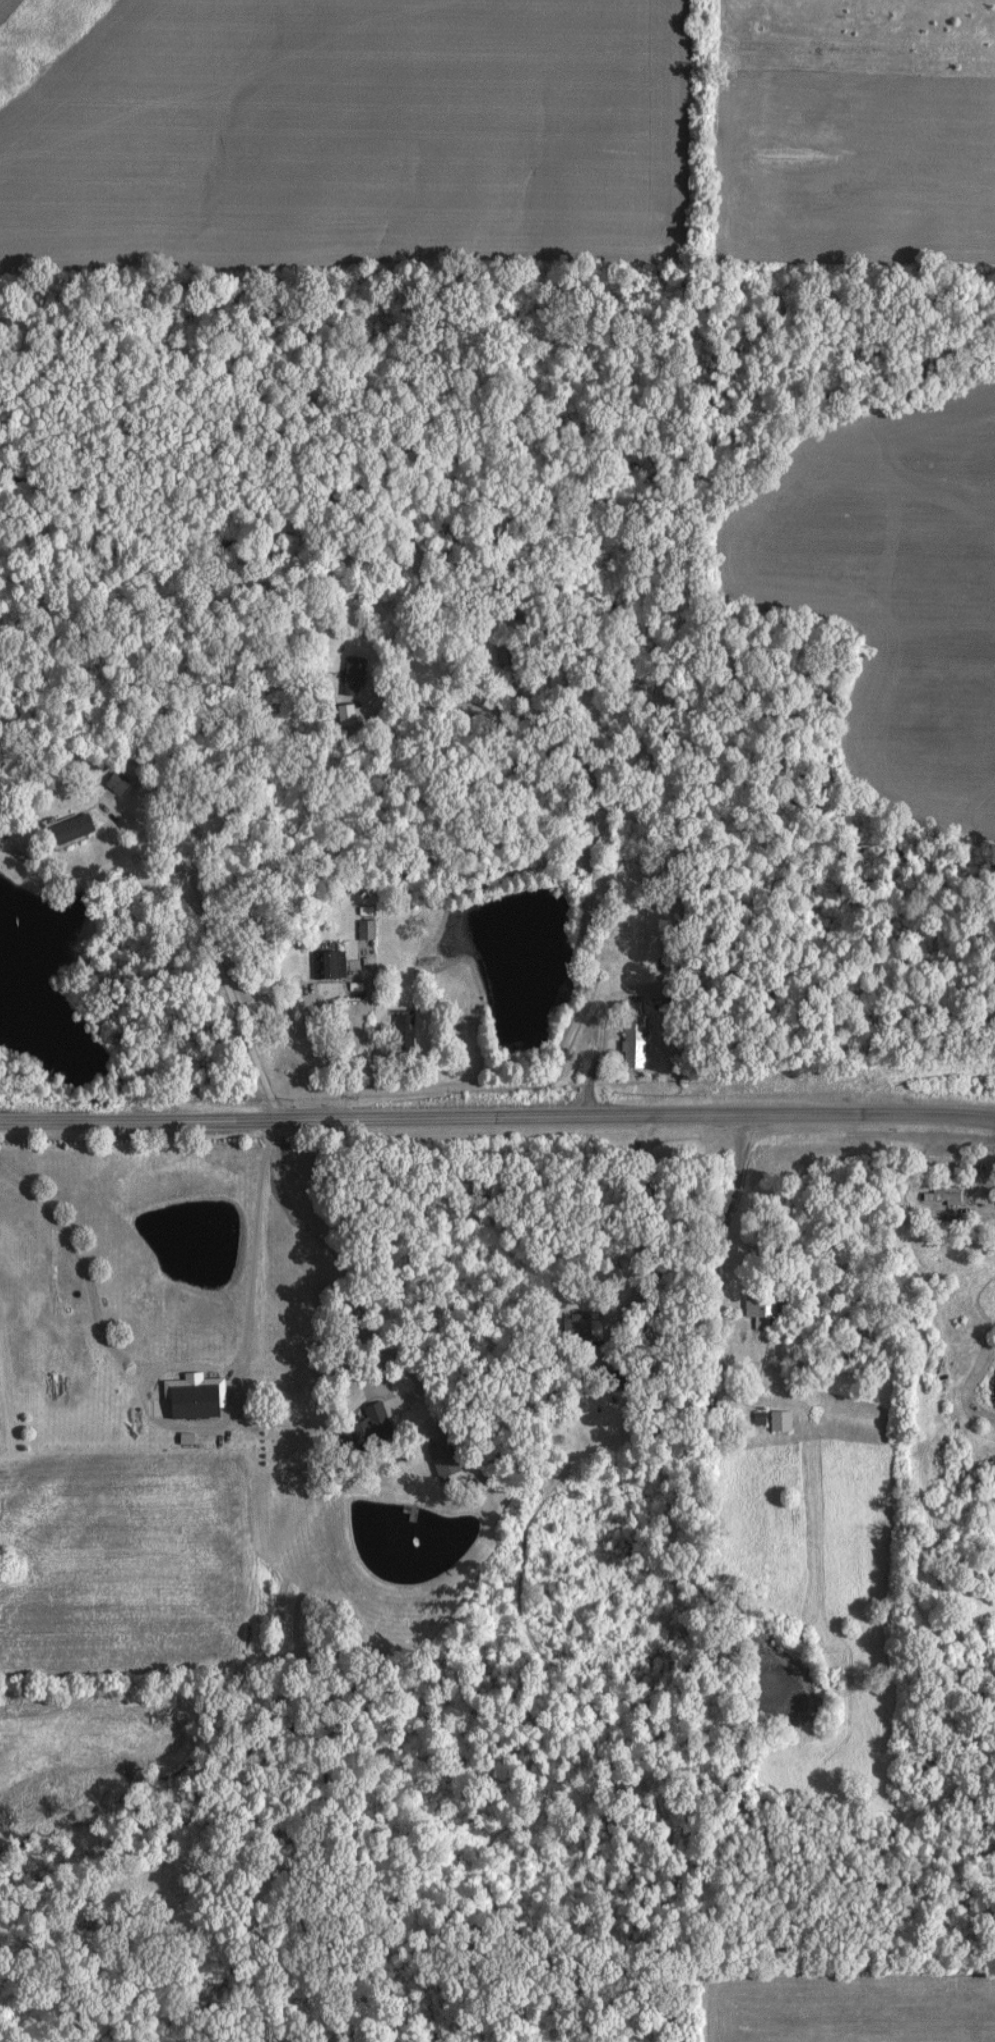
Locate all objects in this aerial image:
building: (507, 653)
building: (346, 672)
building: (111, 784)
building: (64, 832)
road: (586, 909)
building: (358, 930)
building: (324, 964)
road: (420, 1031)
building: (399, 1032)
building: (627, 1041)
road: (255, 1074)
road: (497, 1118)
road: (741, 1191)
building: (936, 1199)
building: (758, 1310)
road: (355, 1325)
building: (184, 1402)
building: (751, 1419)
building: (773, 1422)
building: (377, 1428)
building: (455, 1460)

